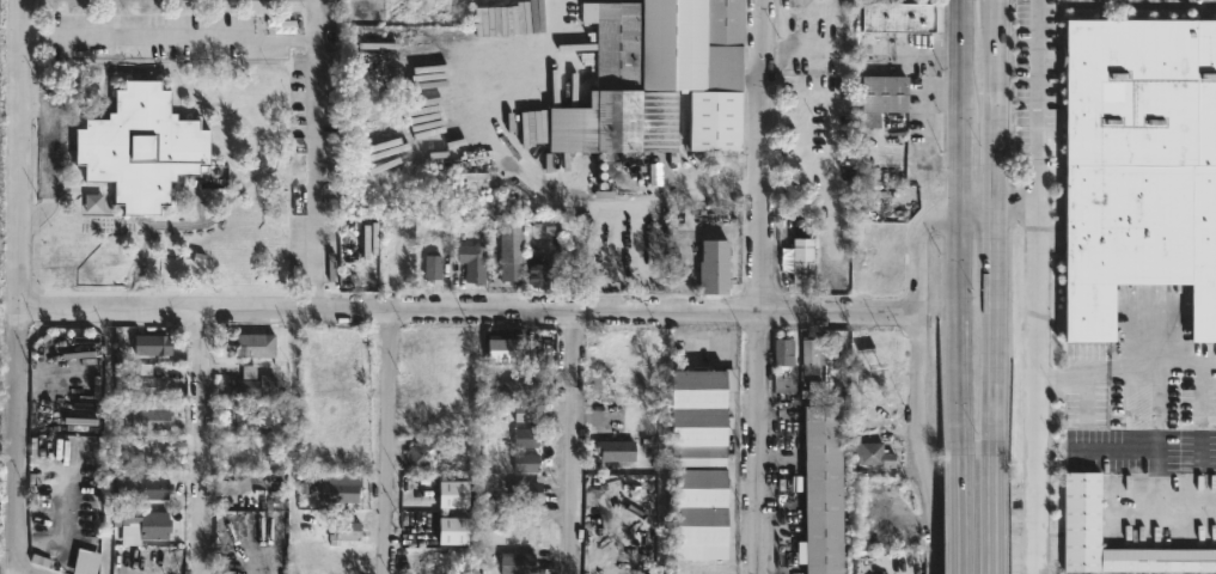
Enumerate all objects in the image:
road: (318, 17)
building: (903, 17)
road: (307, 33)
parking lot: (169, 35)
building: (660, 79)
building: (887, 93)
road: (1038, 105)
road: (925, 123)
building: (148, 151)
road: (47, 155)
building: (1139, 167)
road: (528, 179)
road: (977, 208)
road: (1014, 209)
road: (960, 220)
road: (994, 220)
road: (916, 244)
building: (513, 252)
building: (802, 261)
building: (473, 262)
building: (392, 267)
building: (432, 267)
building: (539, 267)
building: (714, 267)
building: (361, 270)
road: (762, 286)
road: (24, 288)
road: (470, 310)
building: (253, 343)
building: (153, 344)
building: (502, 349)
building: (783, 350)
building: (812, 355)
road: (1126, 365)
building: (252, 385)
building: (149, 386)
building: (517, 391)
road: (1038, 392)
road: (1086, 410)
building: (527, 413)
building: (151, 416)
building: (251, 423)
building: (527, 439)
road: (202, 440)
road: (389, 441)
road: (573, 442)
road: (919, 442)
road: (1047, 447)
road: (1071, 447)
building: (611, 448)
road: (1150, 448)
building: (878, 454)
building: (155, 457)
building: (424, 457)
building: (527, 464)
building: (703, 464)
building: (152, 484)
building: (340, 487)
building: (528, 490)
building: (826, 491)
building: (453, 494)
road: (960, 507)
road: (992, 507)
building: (1083, 509)
building: (141, 524)
building: (346, 530)
building: (452, 530)
building: (519, 563)
road: (33, 573)

